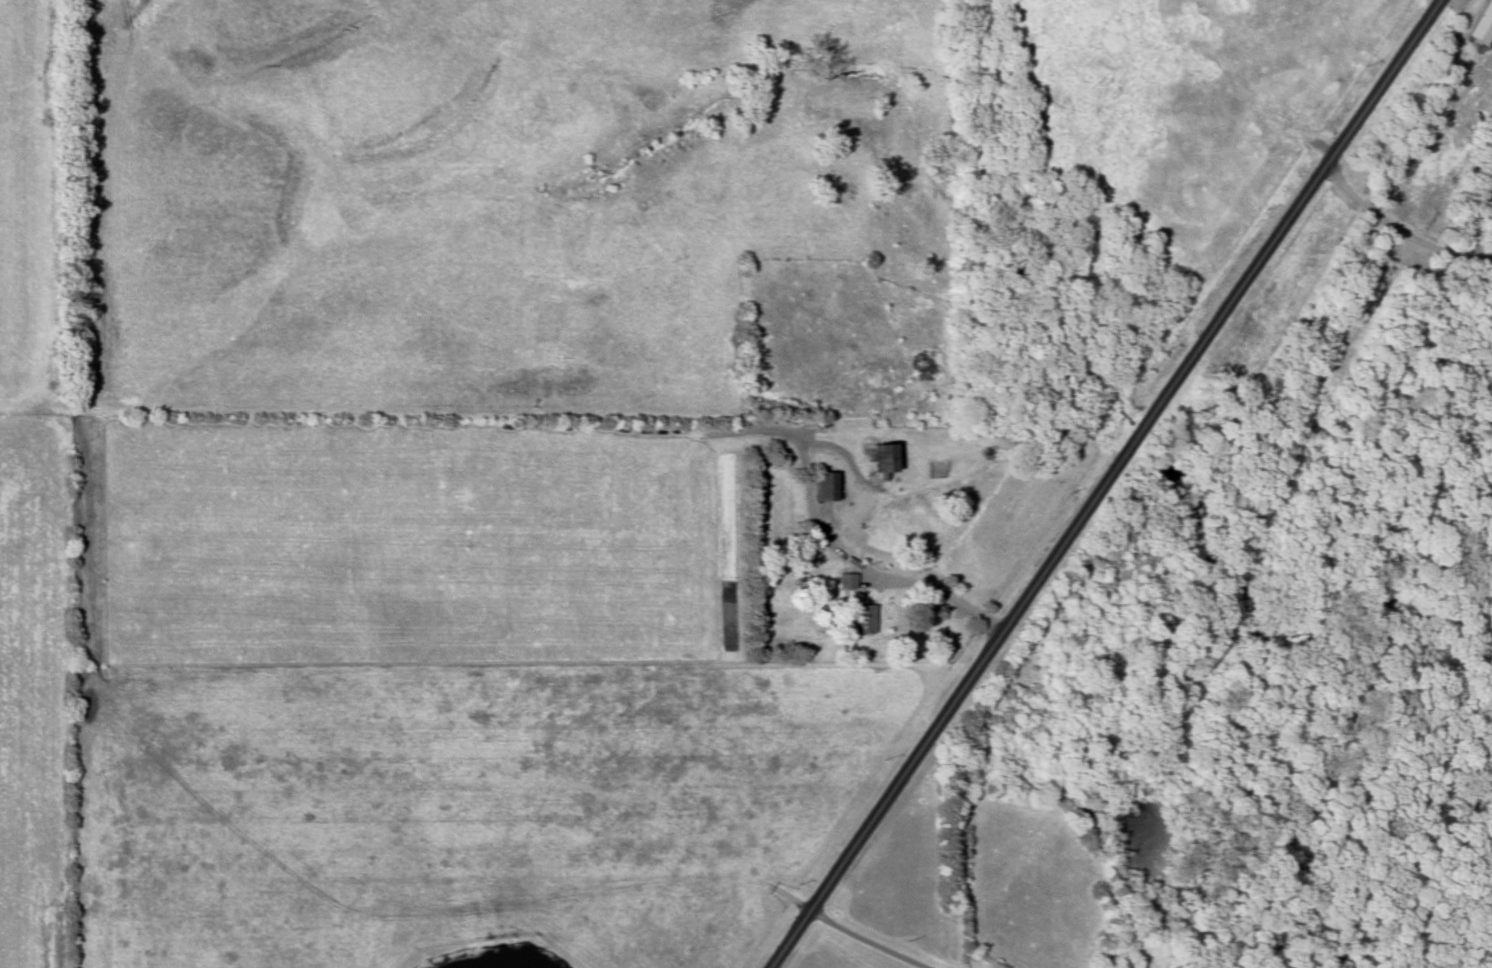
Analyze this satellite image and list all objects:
building: (1483, 26)
airport: (1121, 180)
crop: (34, 207)
road: (1397, 231)
building: (920, 368)
building: (888, 460)
road: (1102, 483)
building: (828, 488)
road: (881, 578)
building: (847, 582)
building: (865, 619)
road: (864, 940)
building: (1108, 962)

